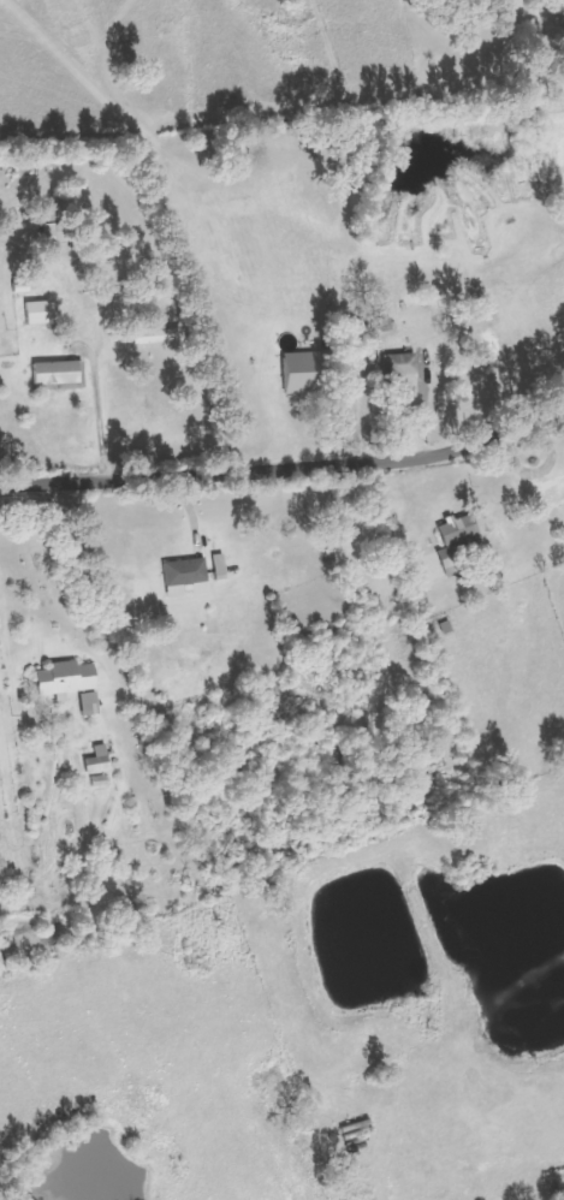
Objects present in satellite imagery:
building: (54, 227)
building: (40, 314)
building: (156, 334)
building: (402, 366)
building: (60, 374)
building: (303, 384)
road: (289, 467)
building: (459, 541)
building: (188, 578)
building: (67, 681)
building: (91, 705)
building: (100, 761)

